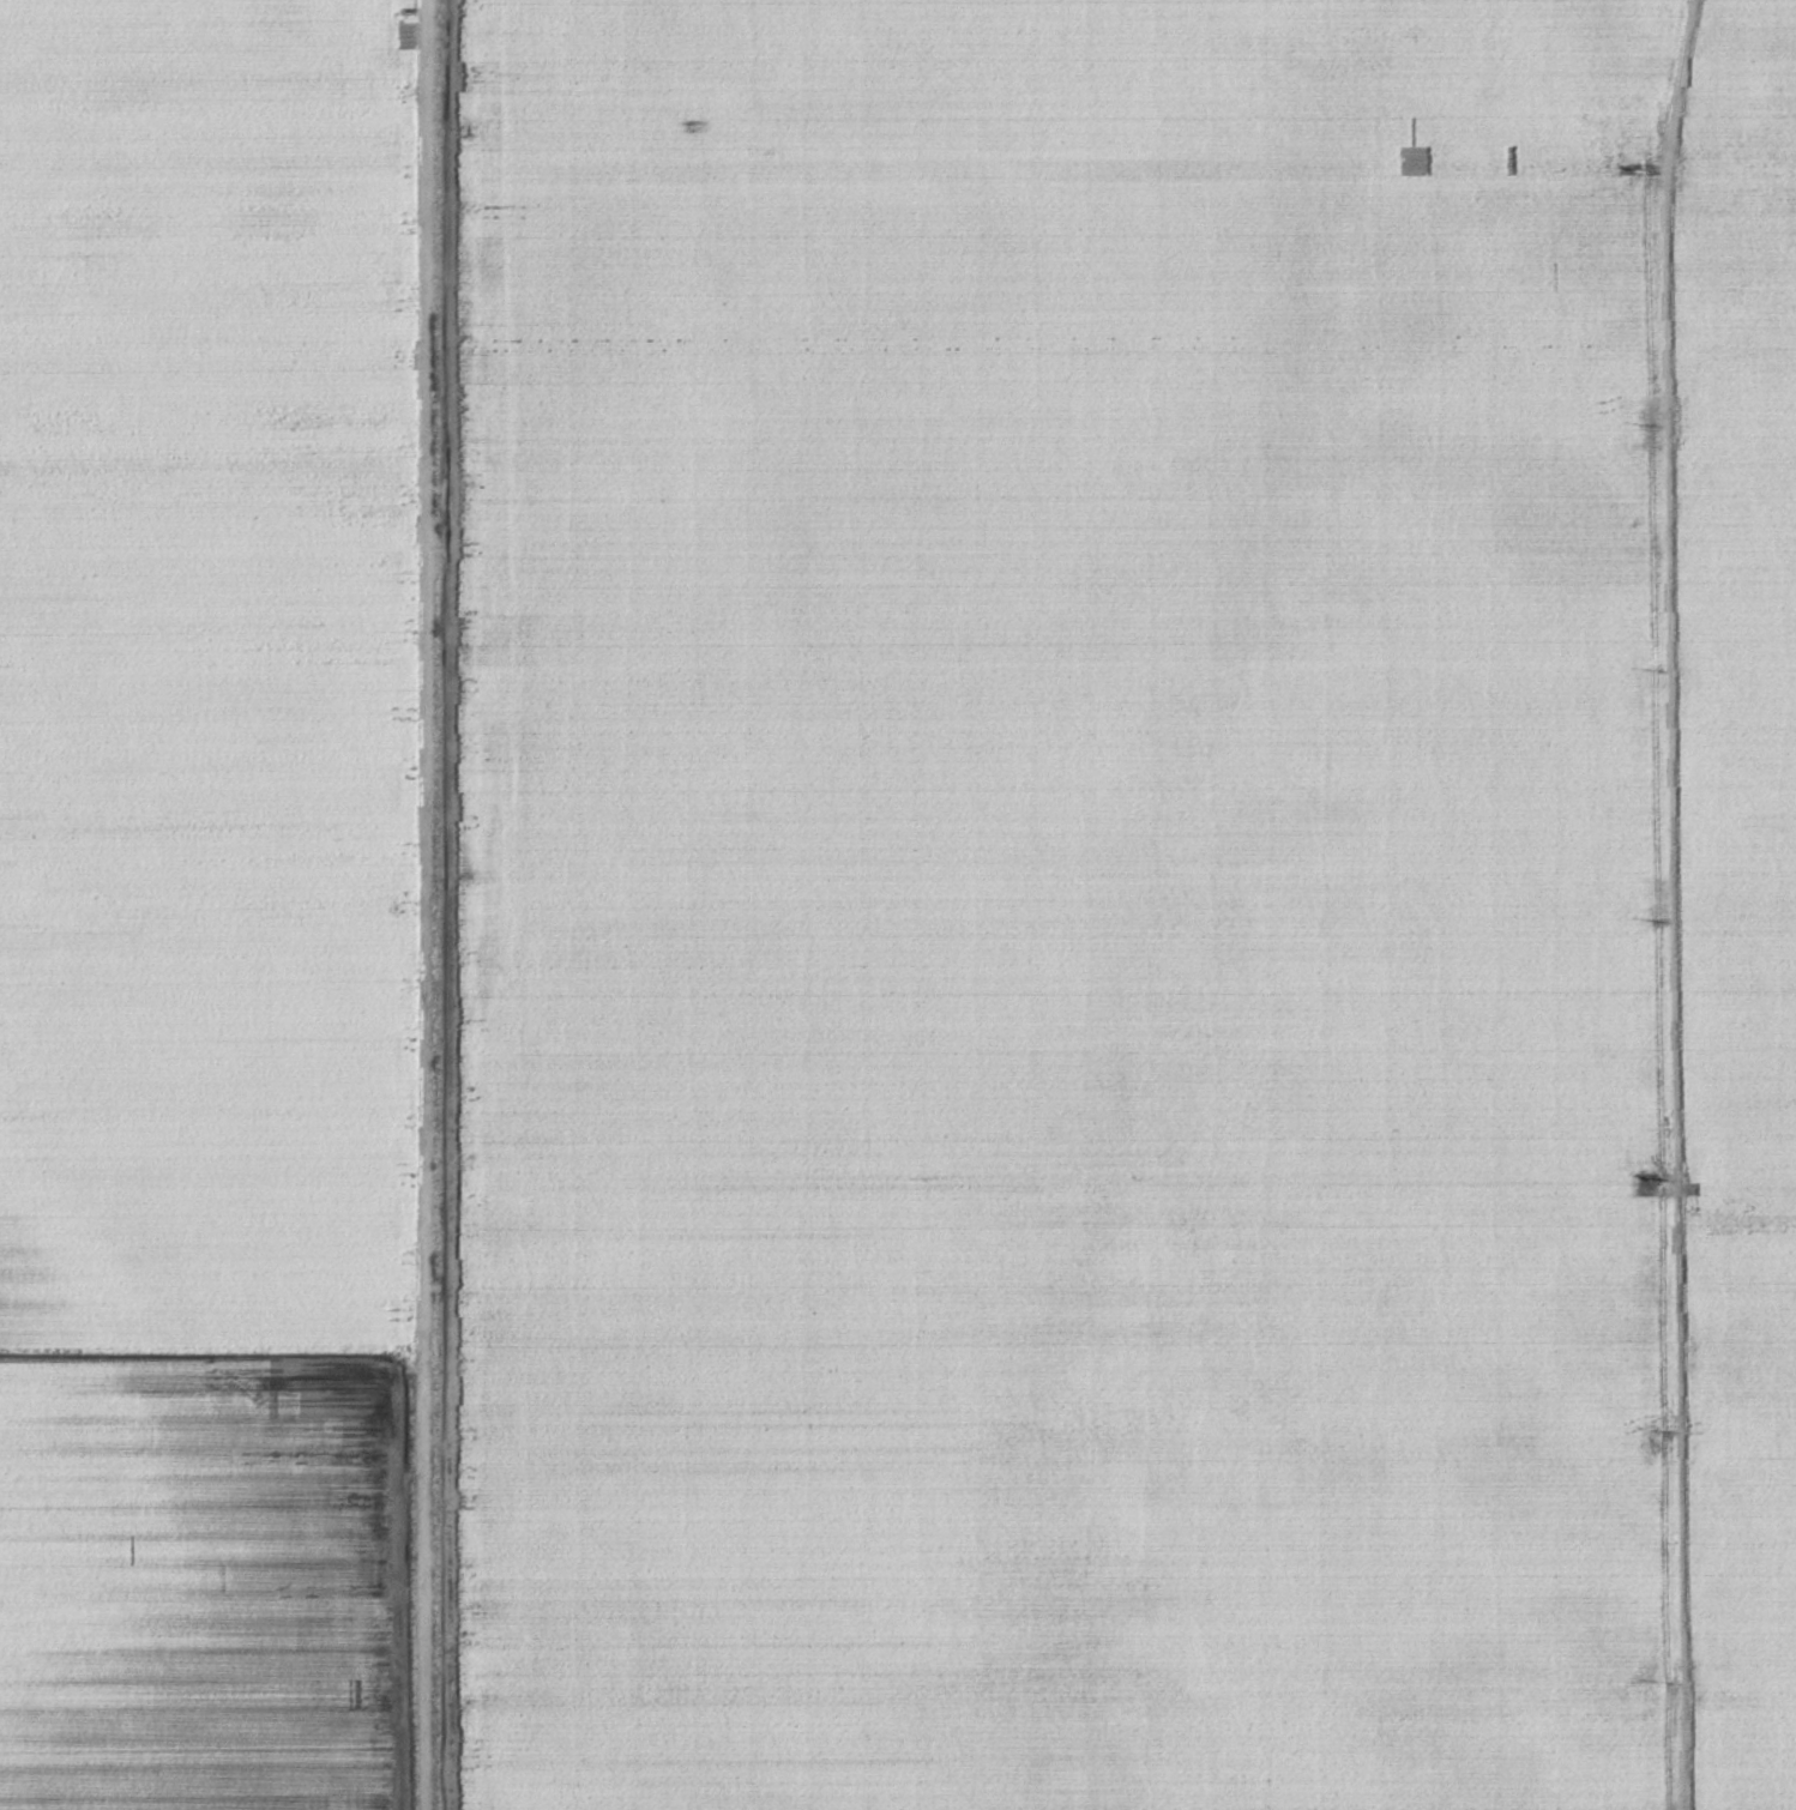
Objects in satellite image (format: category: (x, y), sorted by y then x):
road: (1653, 580)

